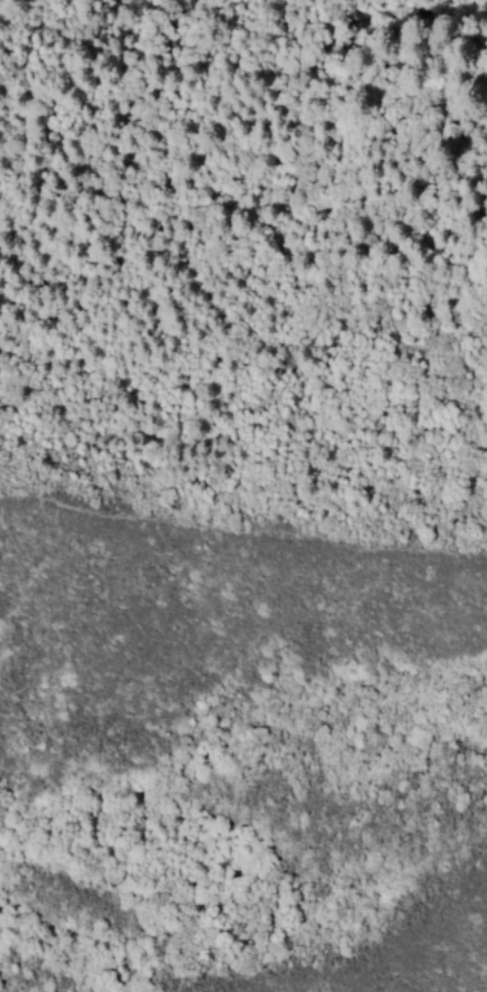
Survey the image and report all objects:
road: (242, 530)

